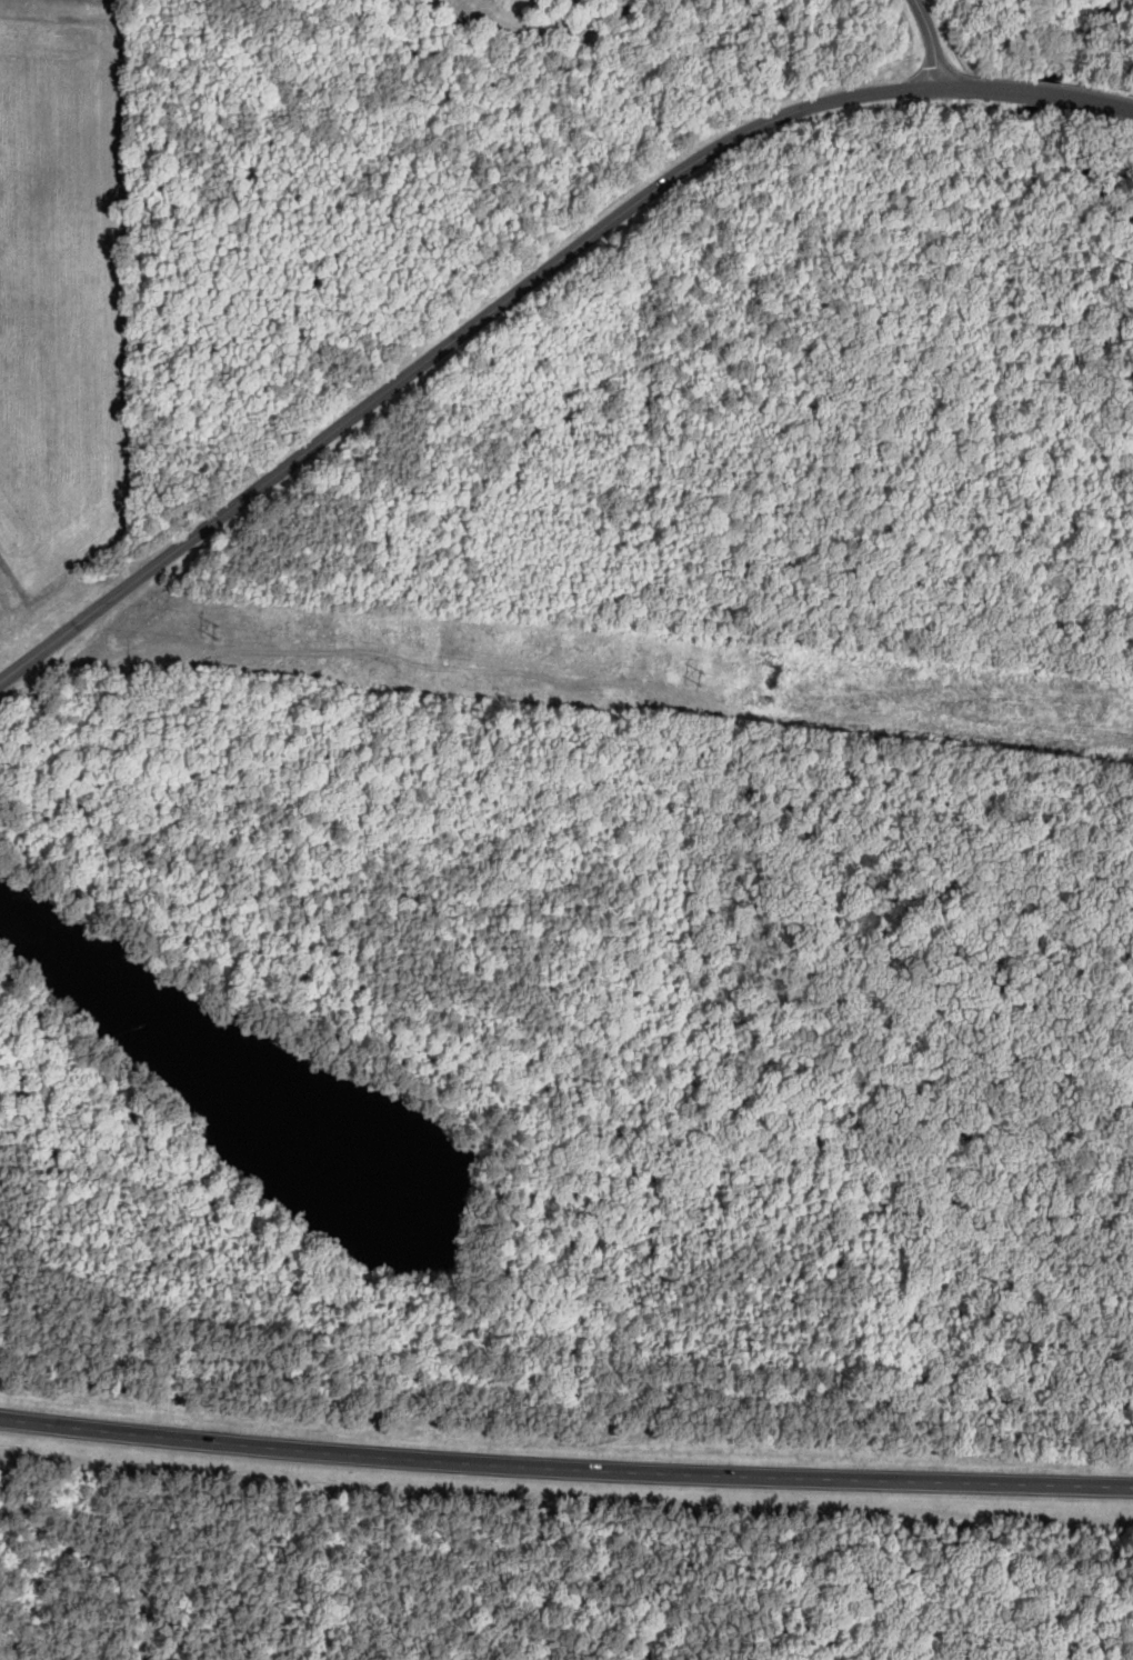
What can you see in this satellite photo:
road: (930, 39)
road: (532, 289)
power tower: (60, 639)
road: (565, 1470)

